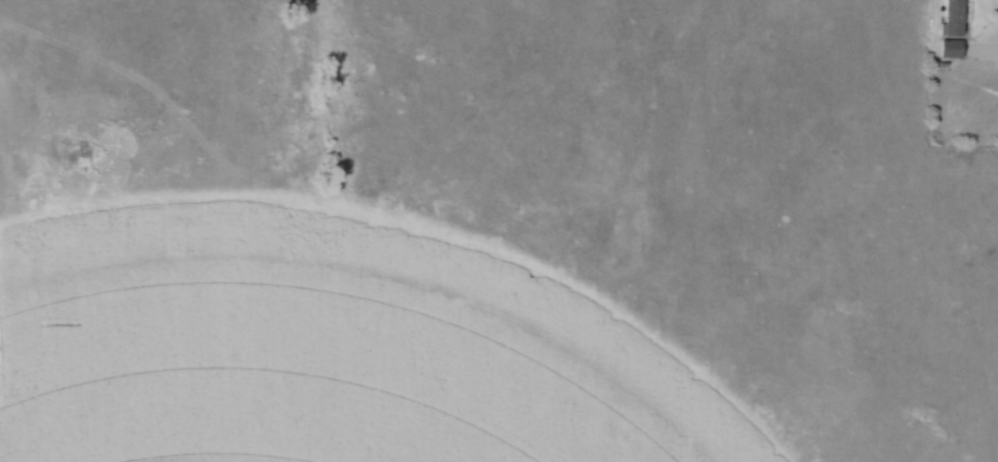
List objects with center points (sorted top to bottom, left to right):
building: (951, 18)
building: (949, 49)

